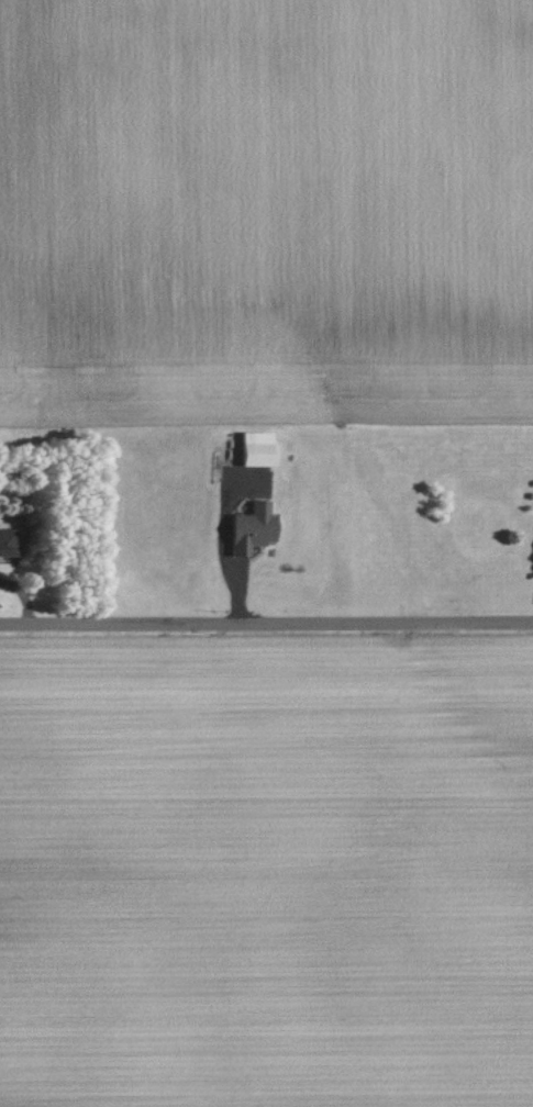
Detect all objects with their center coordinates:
building: (253, 448)
building: (249, 527)
building: (7, 541)
road: (266, 622)

